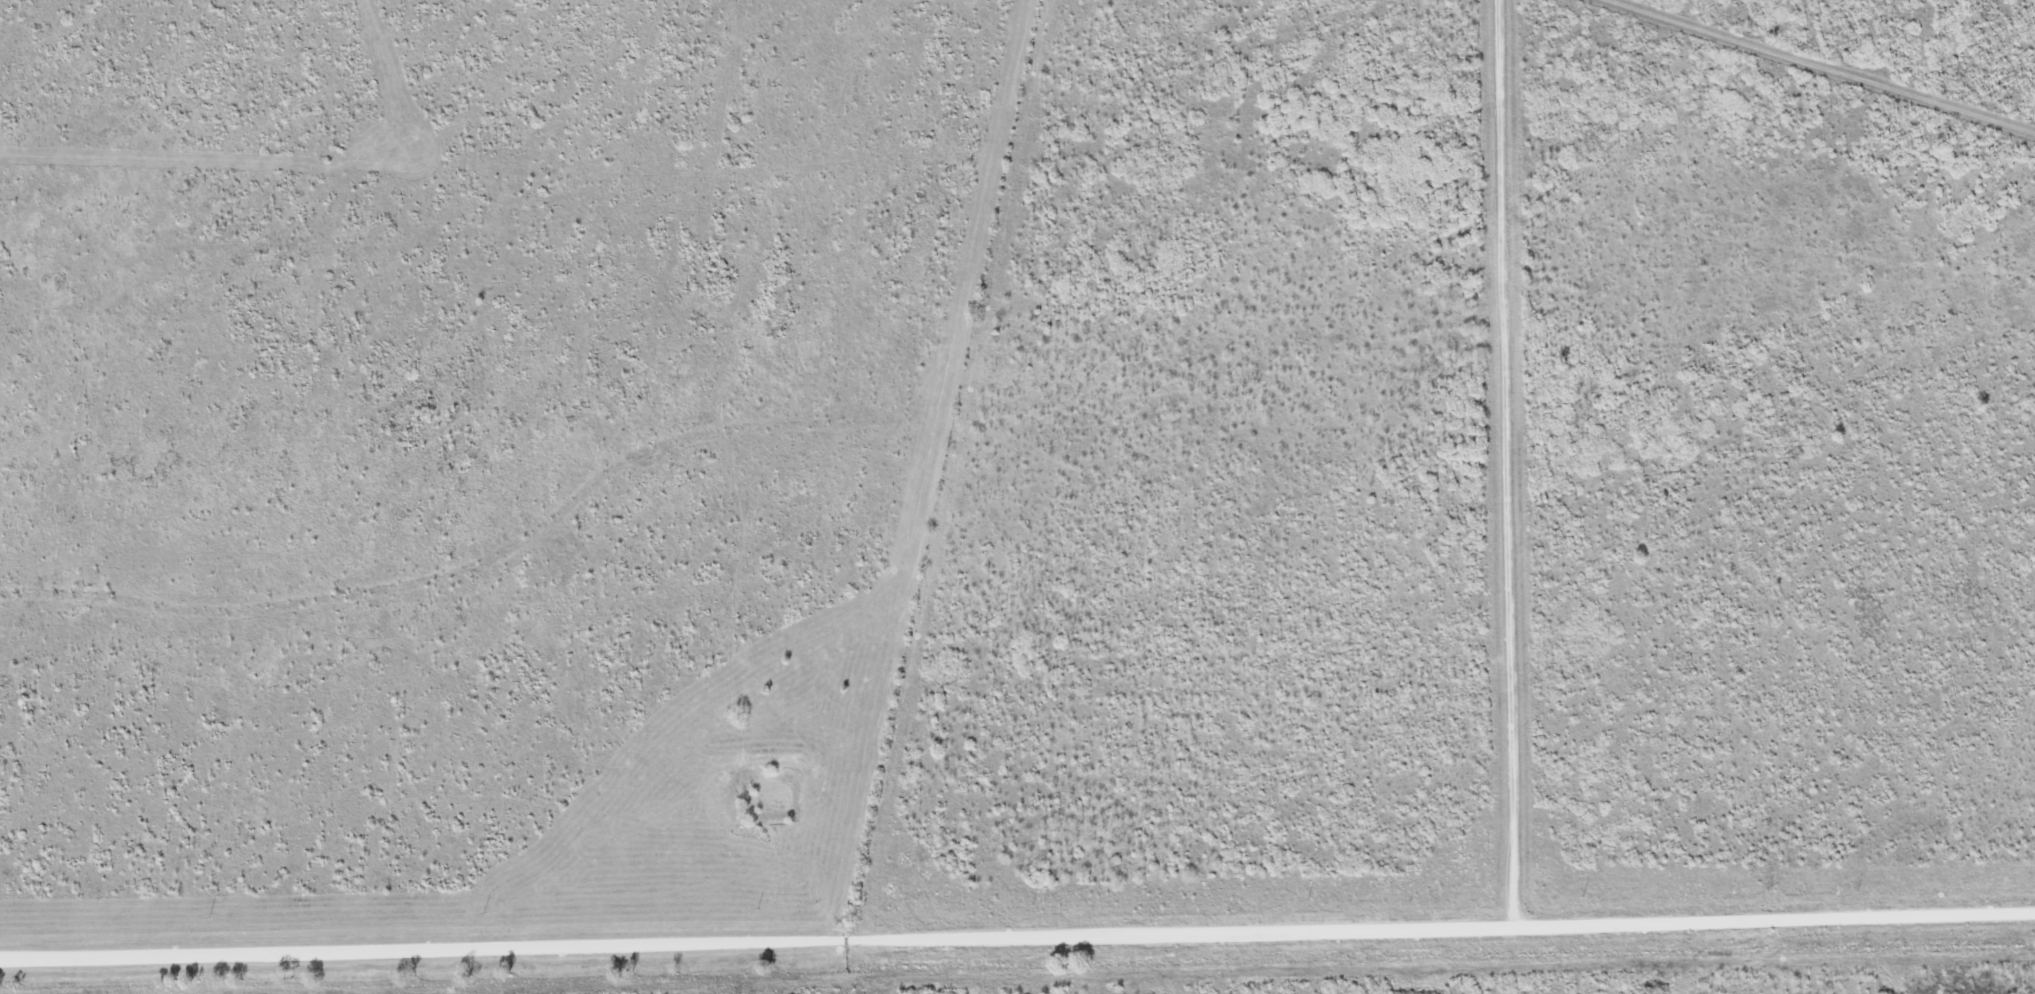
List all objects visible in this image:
road: (1518, 192)
road: (1521, 656)
road: (1611, 927)
road: (593, 945)

